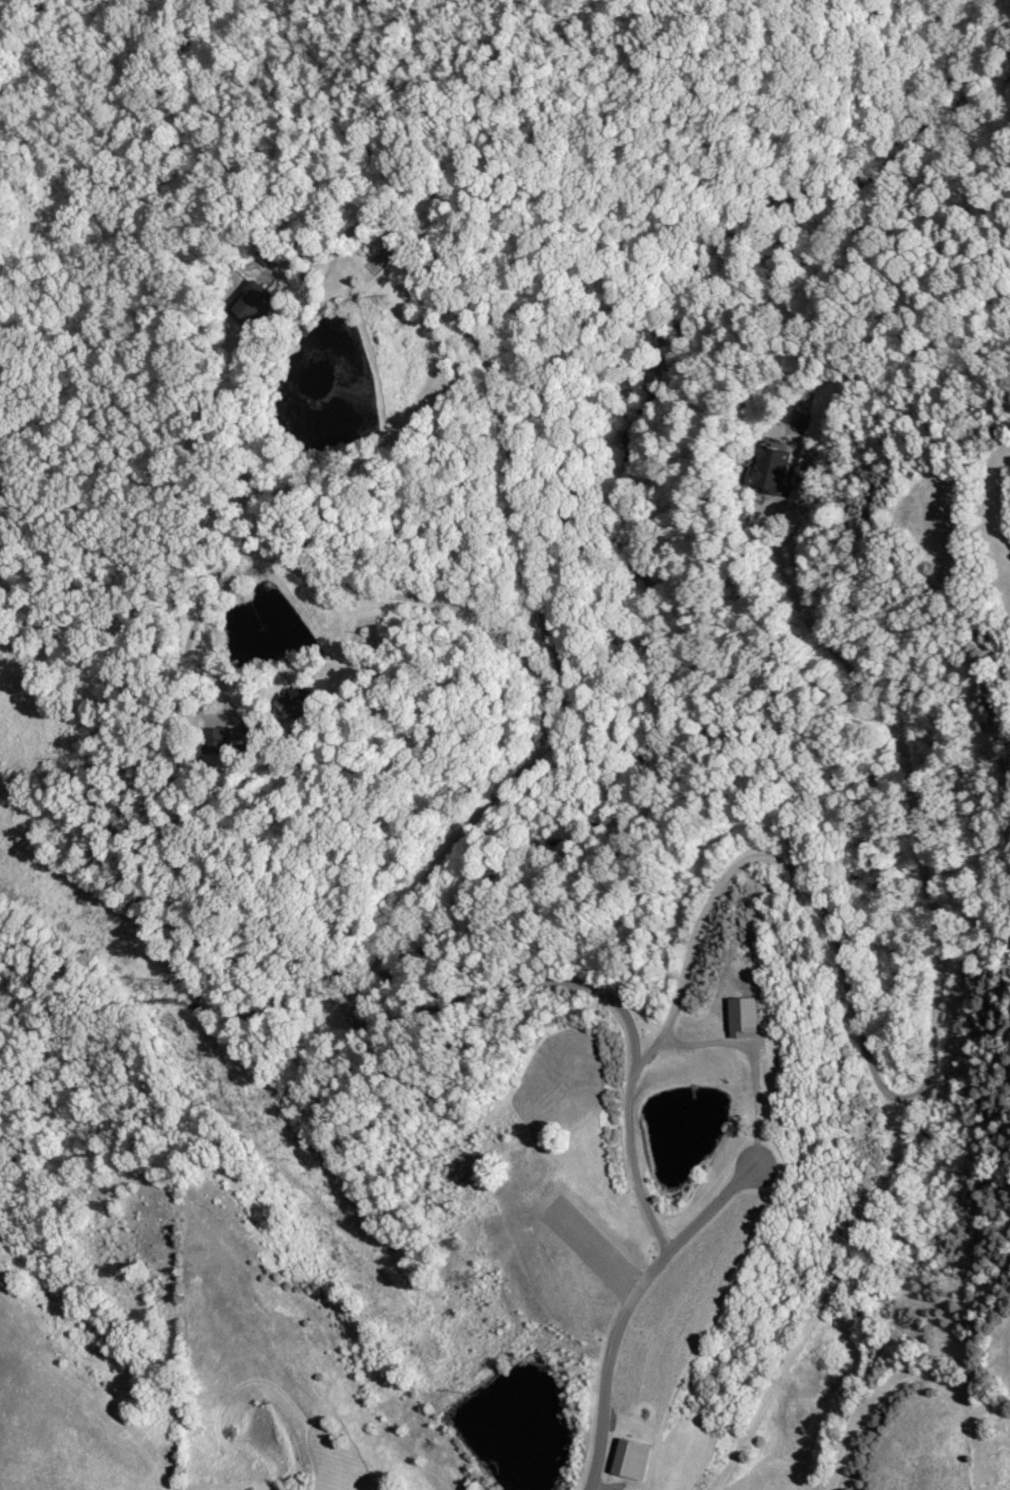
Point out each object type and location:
building: (269, 253)
building: (252, 304)
road: (504, 432)
building: (770, 469)
road: (348, 587)
building: (295, 703)
building: (217, 741)
road: (369, 1017)
road: (659, 1060)
road: (930, 1060)
road: (634, 1310)
building: (632, 1458)

